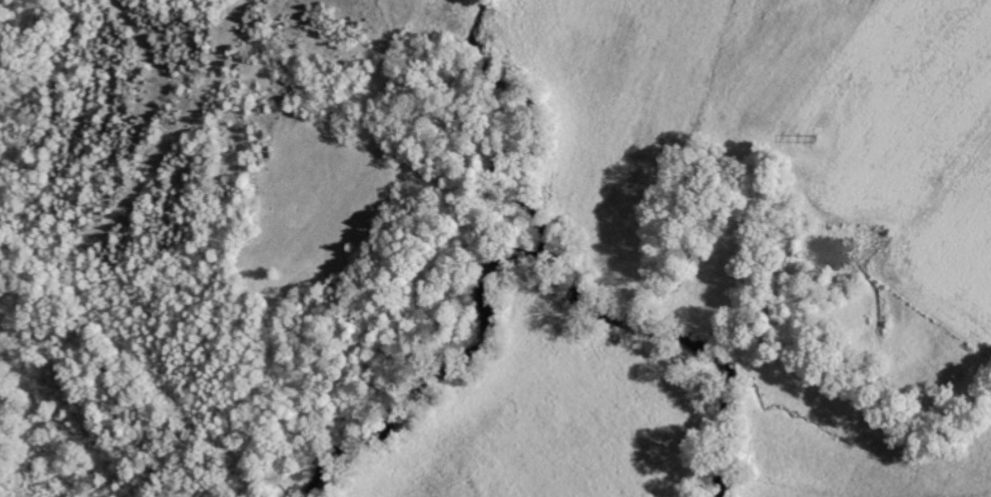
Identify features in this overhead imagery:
river: (529, 258)

